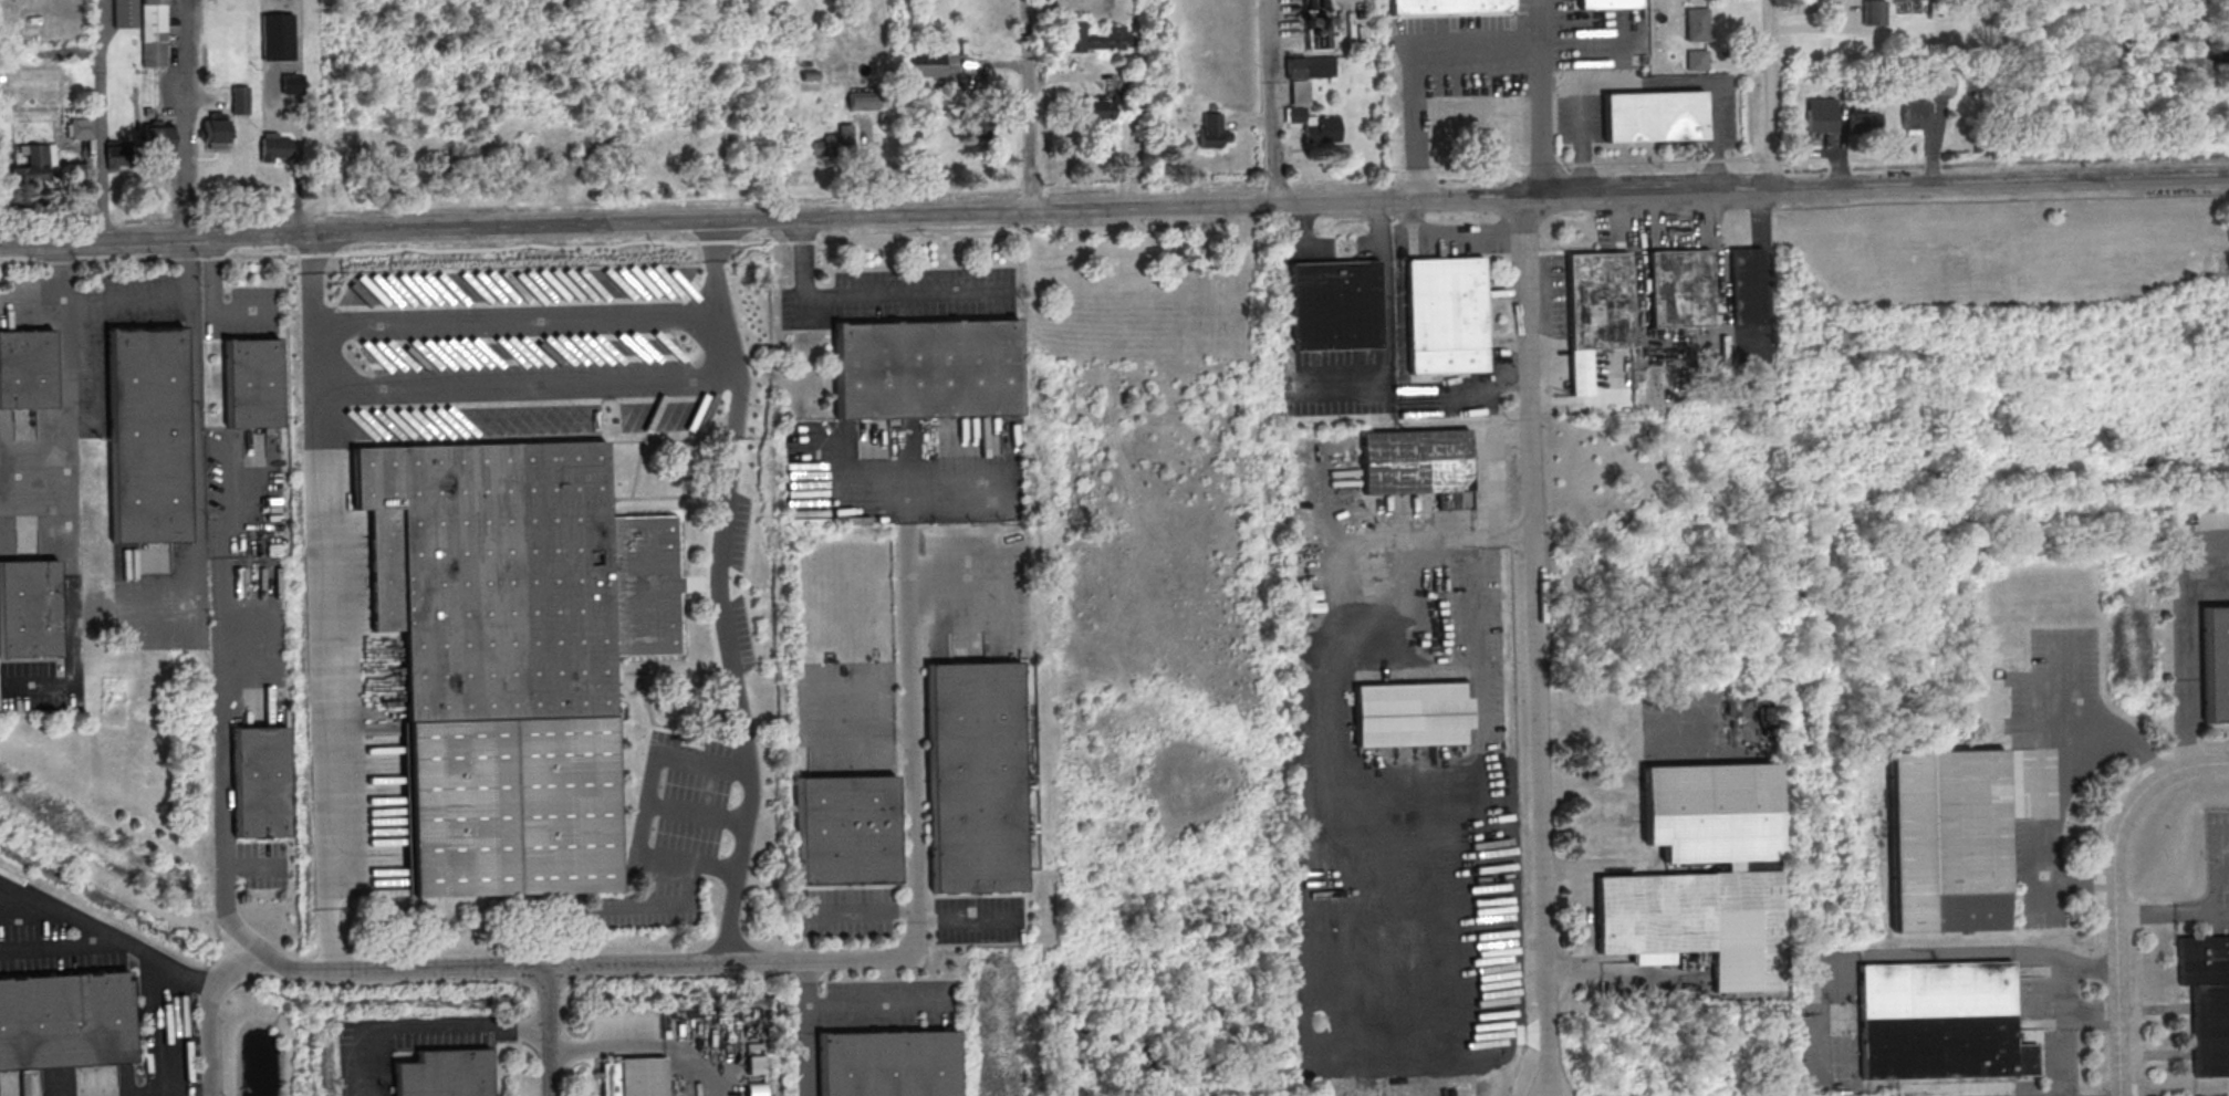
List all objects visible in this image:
building: (1607, 3)
building: (1447, 6)
building: (1874, 12)
building: (125, 13)
building: (1696, 24)
building: (154, 32)
building: (1089, 33)
building: (278, 35)
building: (1696, 60)
building: (923, 63)
road: (1412, 63)
building: (1311, 66)
building: (292, 84)
road: (1647, 84)
building: (1944, 84)
road: (1768, 95)
road: (1541, 100)
building: (240, 101)
building: (862, 102)
road: (1267, 102)
building: (1060, 104)
road: (1024, 105)
building: (1101, 107)
building: (1916, 114)
building: (1653, 116)
building: (1821, 116)
road: (181, 118)
road: (102, 124)
building: (1864, 124)
building: (978, 125)
building: (1315, 126)
building: (82, 129)
building: (1212, 131)
building: (216, 134)
building: (159, 137)
building: (837, 139)
building: (274, 148)
building: (118, 154)
building: (35, 164)
road: (1114, 208)
road: (714, 265)
road: (315, 278)
building: (1747, 288)
building: (1679, 289)
road: (863, 294)
parking lot: (899, 295)
road: (126, 298)
building: (1598, 301)
road: (212, 304)
building: (1335, 305)
building: (1446, 315)
road: (521, 316)
road: (1385, 317)
building: (27, 368)
building: (926, 368)
building: (252, 383)
road: (530, 387)
road: (319, 424)
road: (191, 431)
building: (147, 434)
road: (733, 441)
building: (1418, 465)
road: (71, 495)
building: (1357, 513)
building: (29, 608)
road: (2181, 635)
road: (1537, 646)
building: (510, 653)
building: (2216, 662)
building: (1412, 714)
road: (324, 748)
road: (912, 748)
road: (751, 765)
building: (975, 777)
building: (260, 782)
road: (221, 797)
road: (647, 808)
building: (1711, 813)
building: (846, 829)
building: (1949, 839)
road: (2113, 893)
road: (2171, 915)
building: (1697, 921)
road: (110, 948)
road: (1924, 953)
road: (617, 962)
building: (2208, 1000)
road: (845, 1005)
road: (209, 1010)
building: (1940, 1020)
building: (64, 1021)
road: (2066, 1026)
road: (160, 1027)
road: (431, 1027)
road: (545, 1031)
road: (518, 1033)
road: (643, 1044)
building: (886, 1063)
road: (518, 1067)
building: (441, 1073)
building: (632, 1076)

